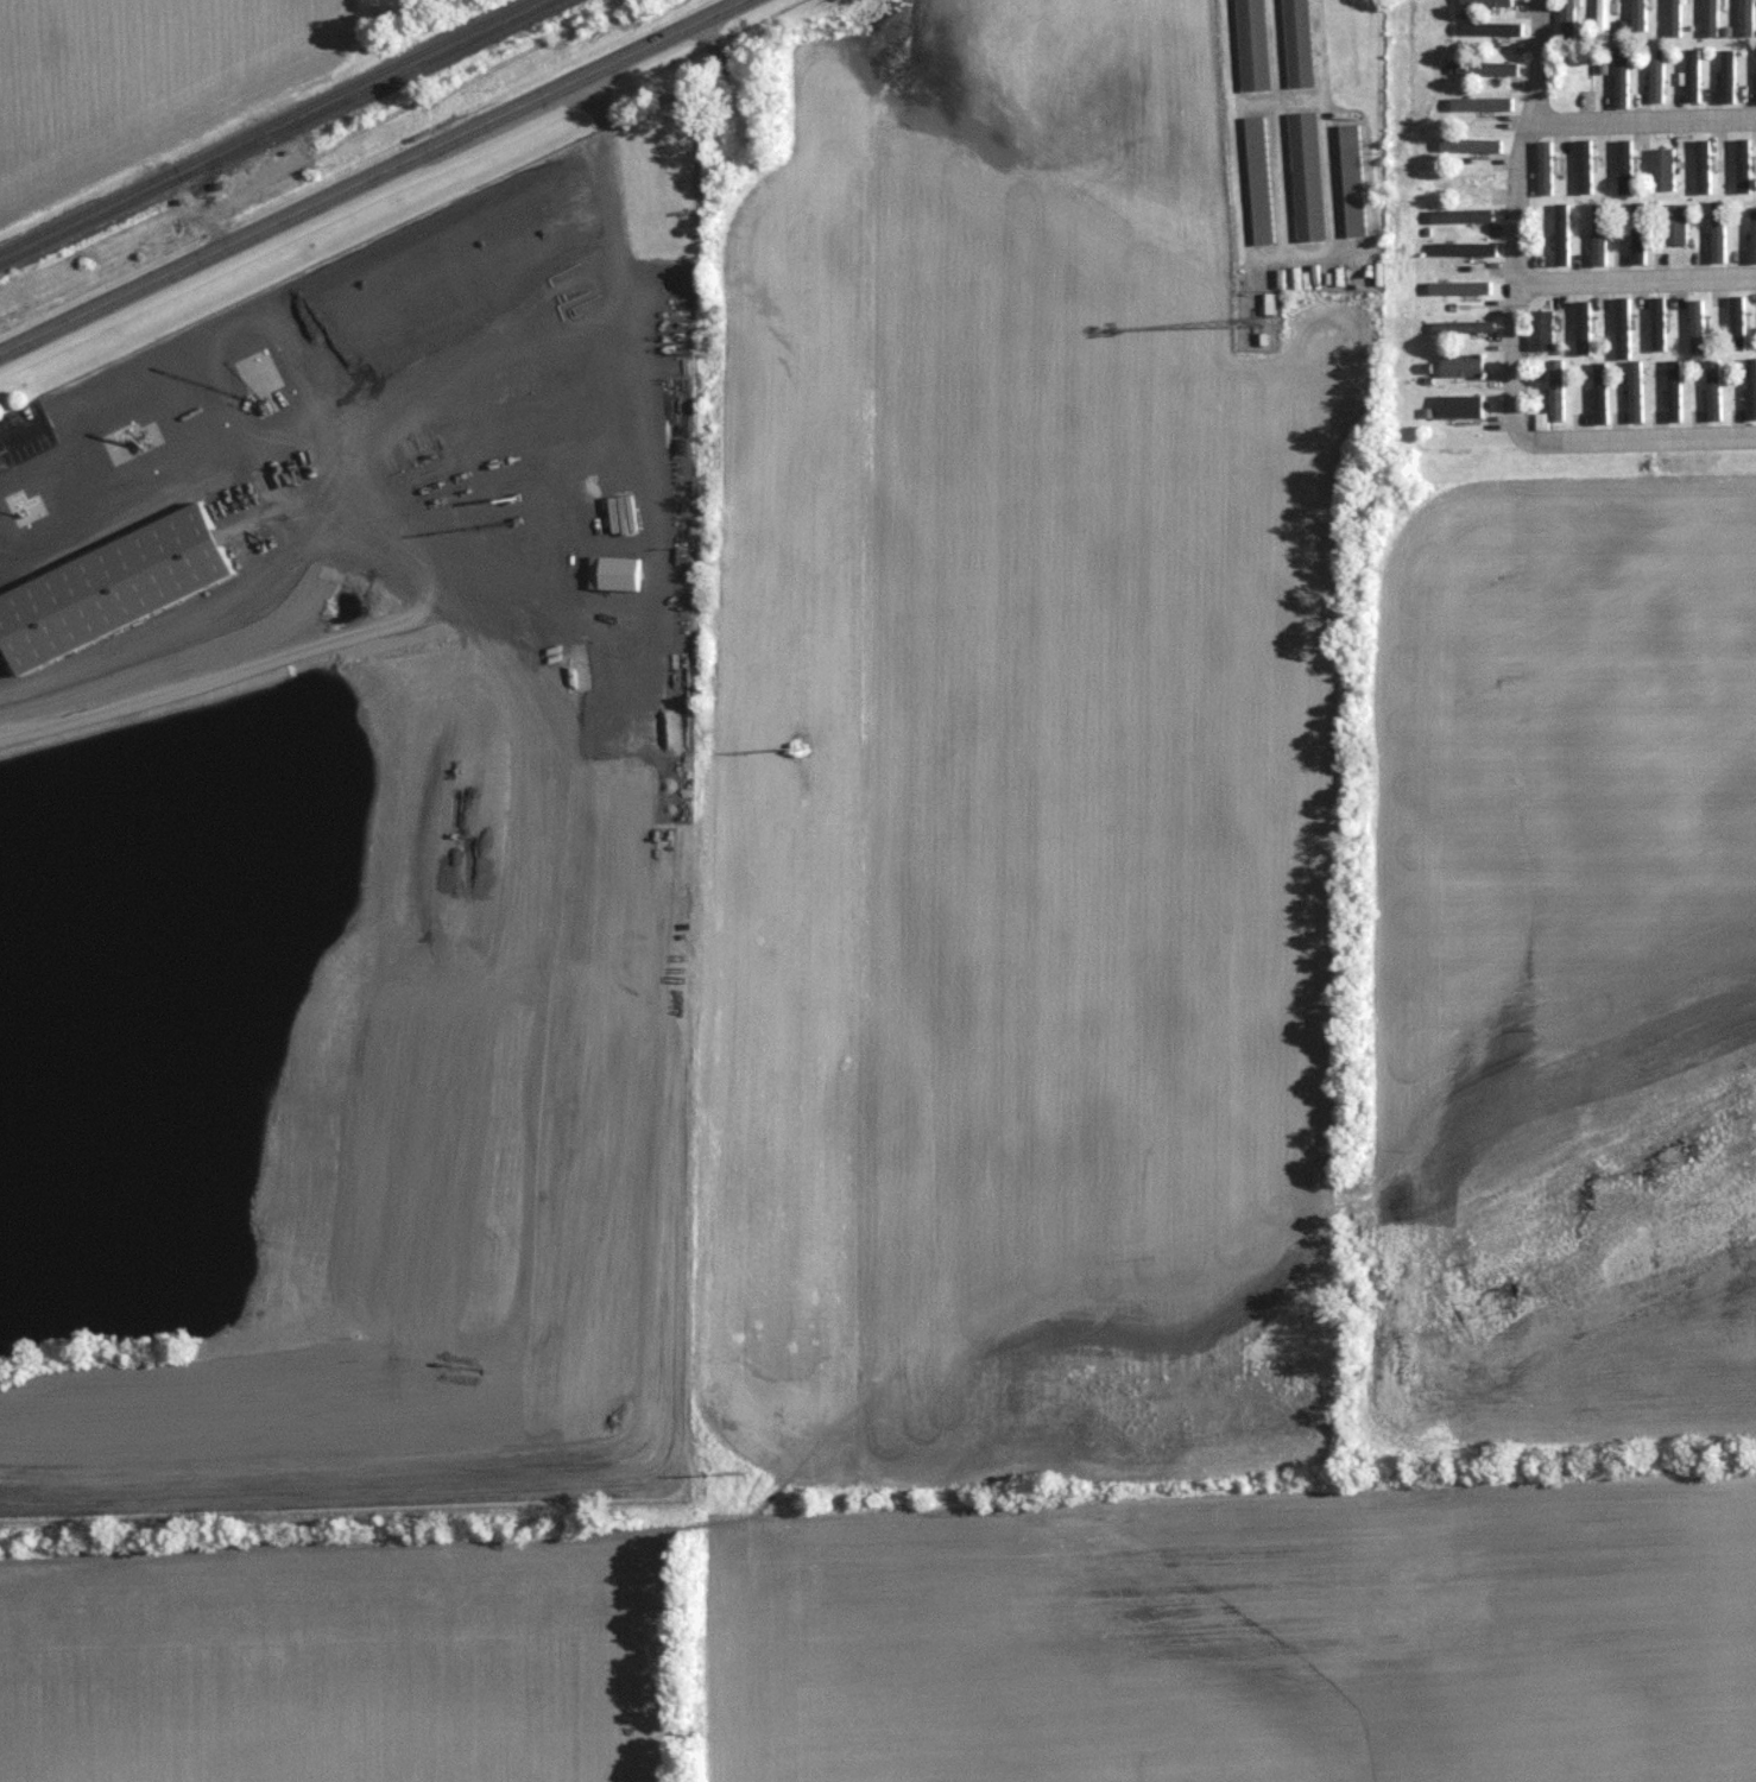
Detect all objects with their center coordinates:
building: (1484, 4)
building: (1520, 11)
building: (1745, 15)
building: (1672, 18)
building: (1710, 18)
building: (1566, 20)
building: (1602, 21)
power tower: (865, 29)
building: (1296, 44)
building: (1251, 45)
building: (1485, 69)
building: (1619, 78)
road: (1647, 116)
railway: (263, 125)
railway: (274, 131)
building: (1661, 170)
building: (1584, 173)
road: (372, 176)
building: (1305, 177)
building: (1461, 179)
building: (1257, 181)
building: (1351, 181)
building: (1460, 215)
building: (1674, 225)
building: (1555, 236)
building: (1461, 254)
road: (1638, 276)
building: (1656, 324)
building: (1461, 327)
building: (1541, 330)
road: (1521, 331)
building: (1460, 366)
building: (1454, 406)
road: (19, 434)
building: (612, 573)
building: (110, 587)
power tower: (794, 750)
power tower: (762, 1474)

